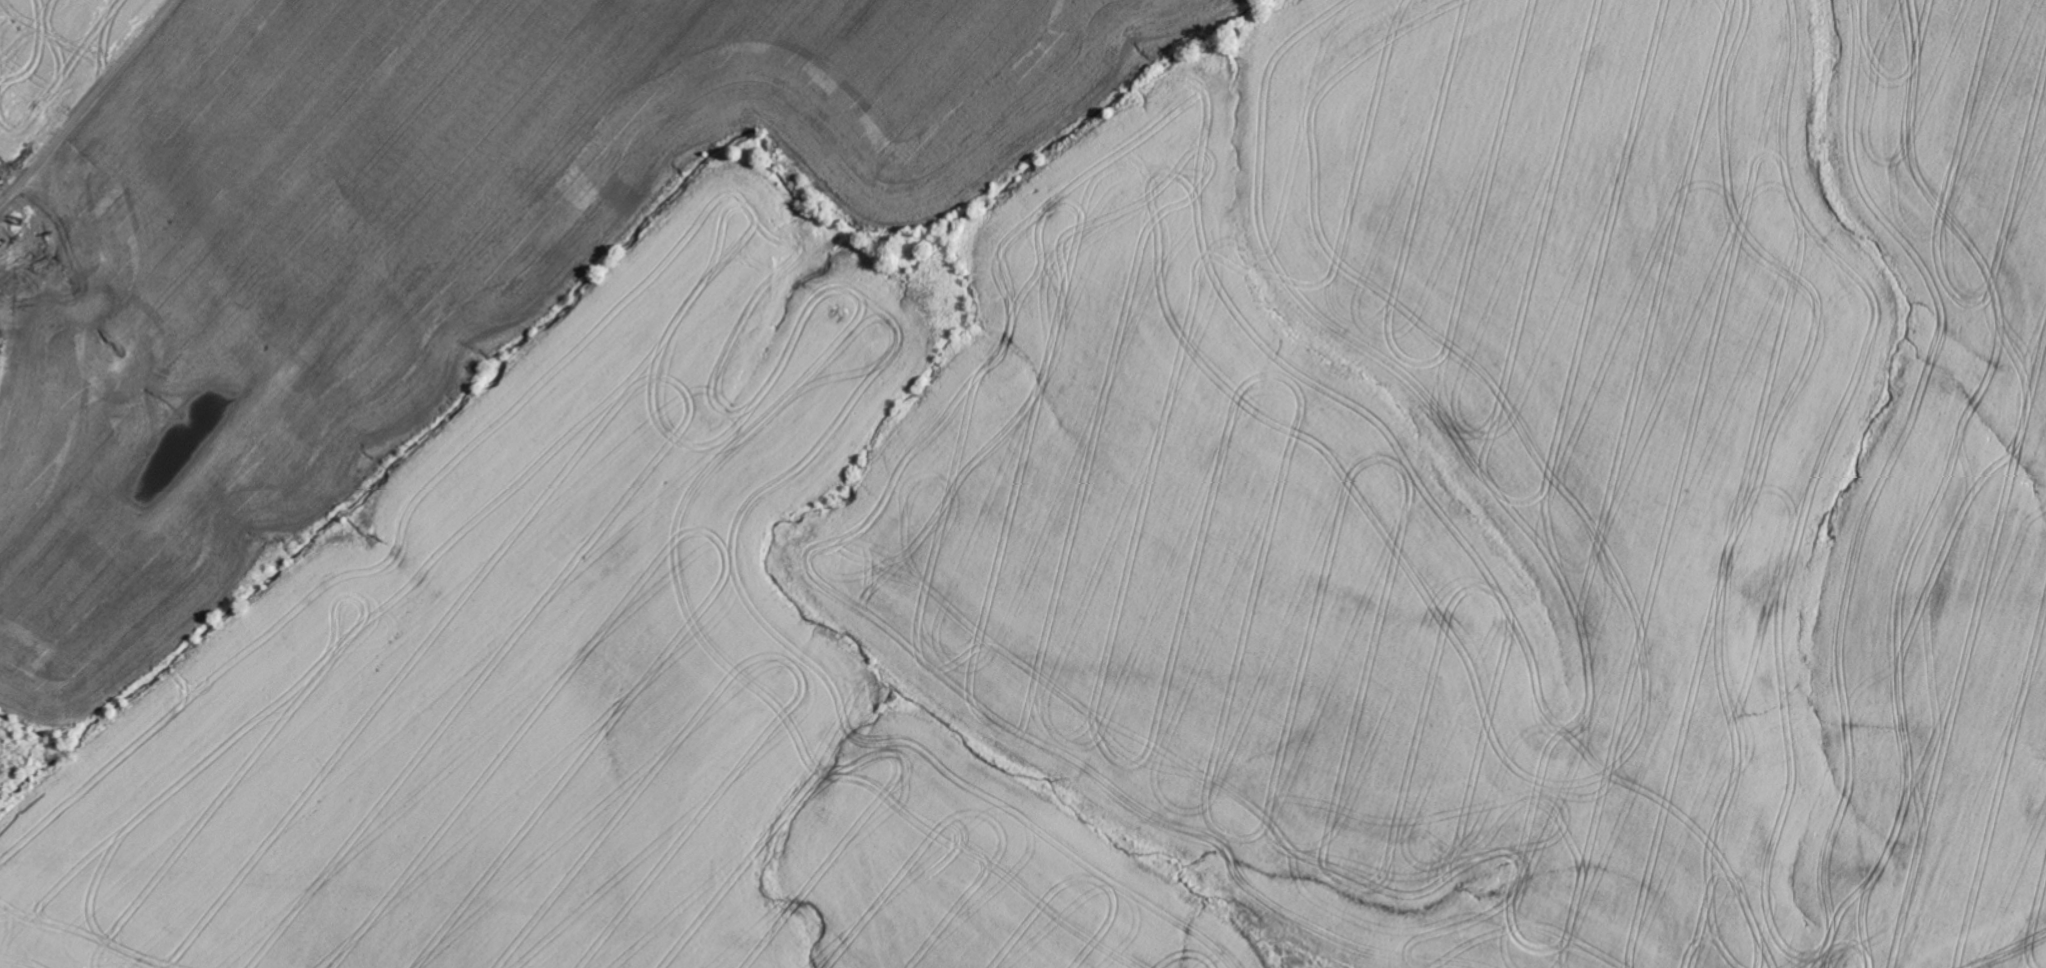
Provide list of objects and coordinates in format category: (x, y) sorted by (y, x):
road: (84, 100)

